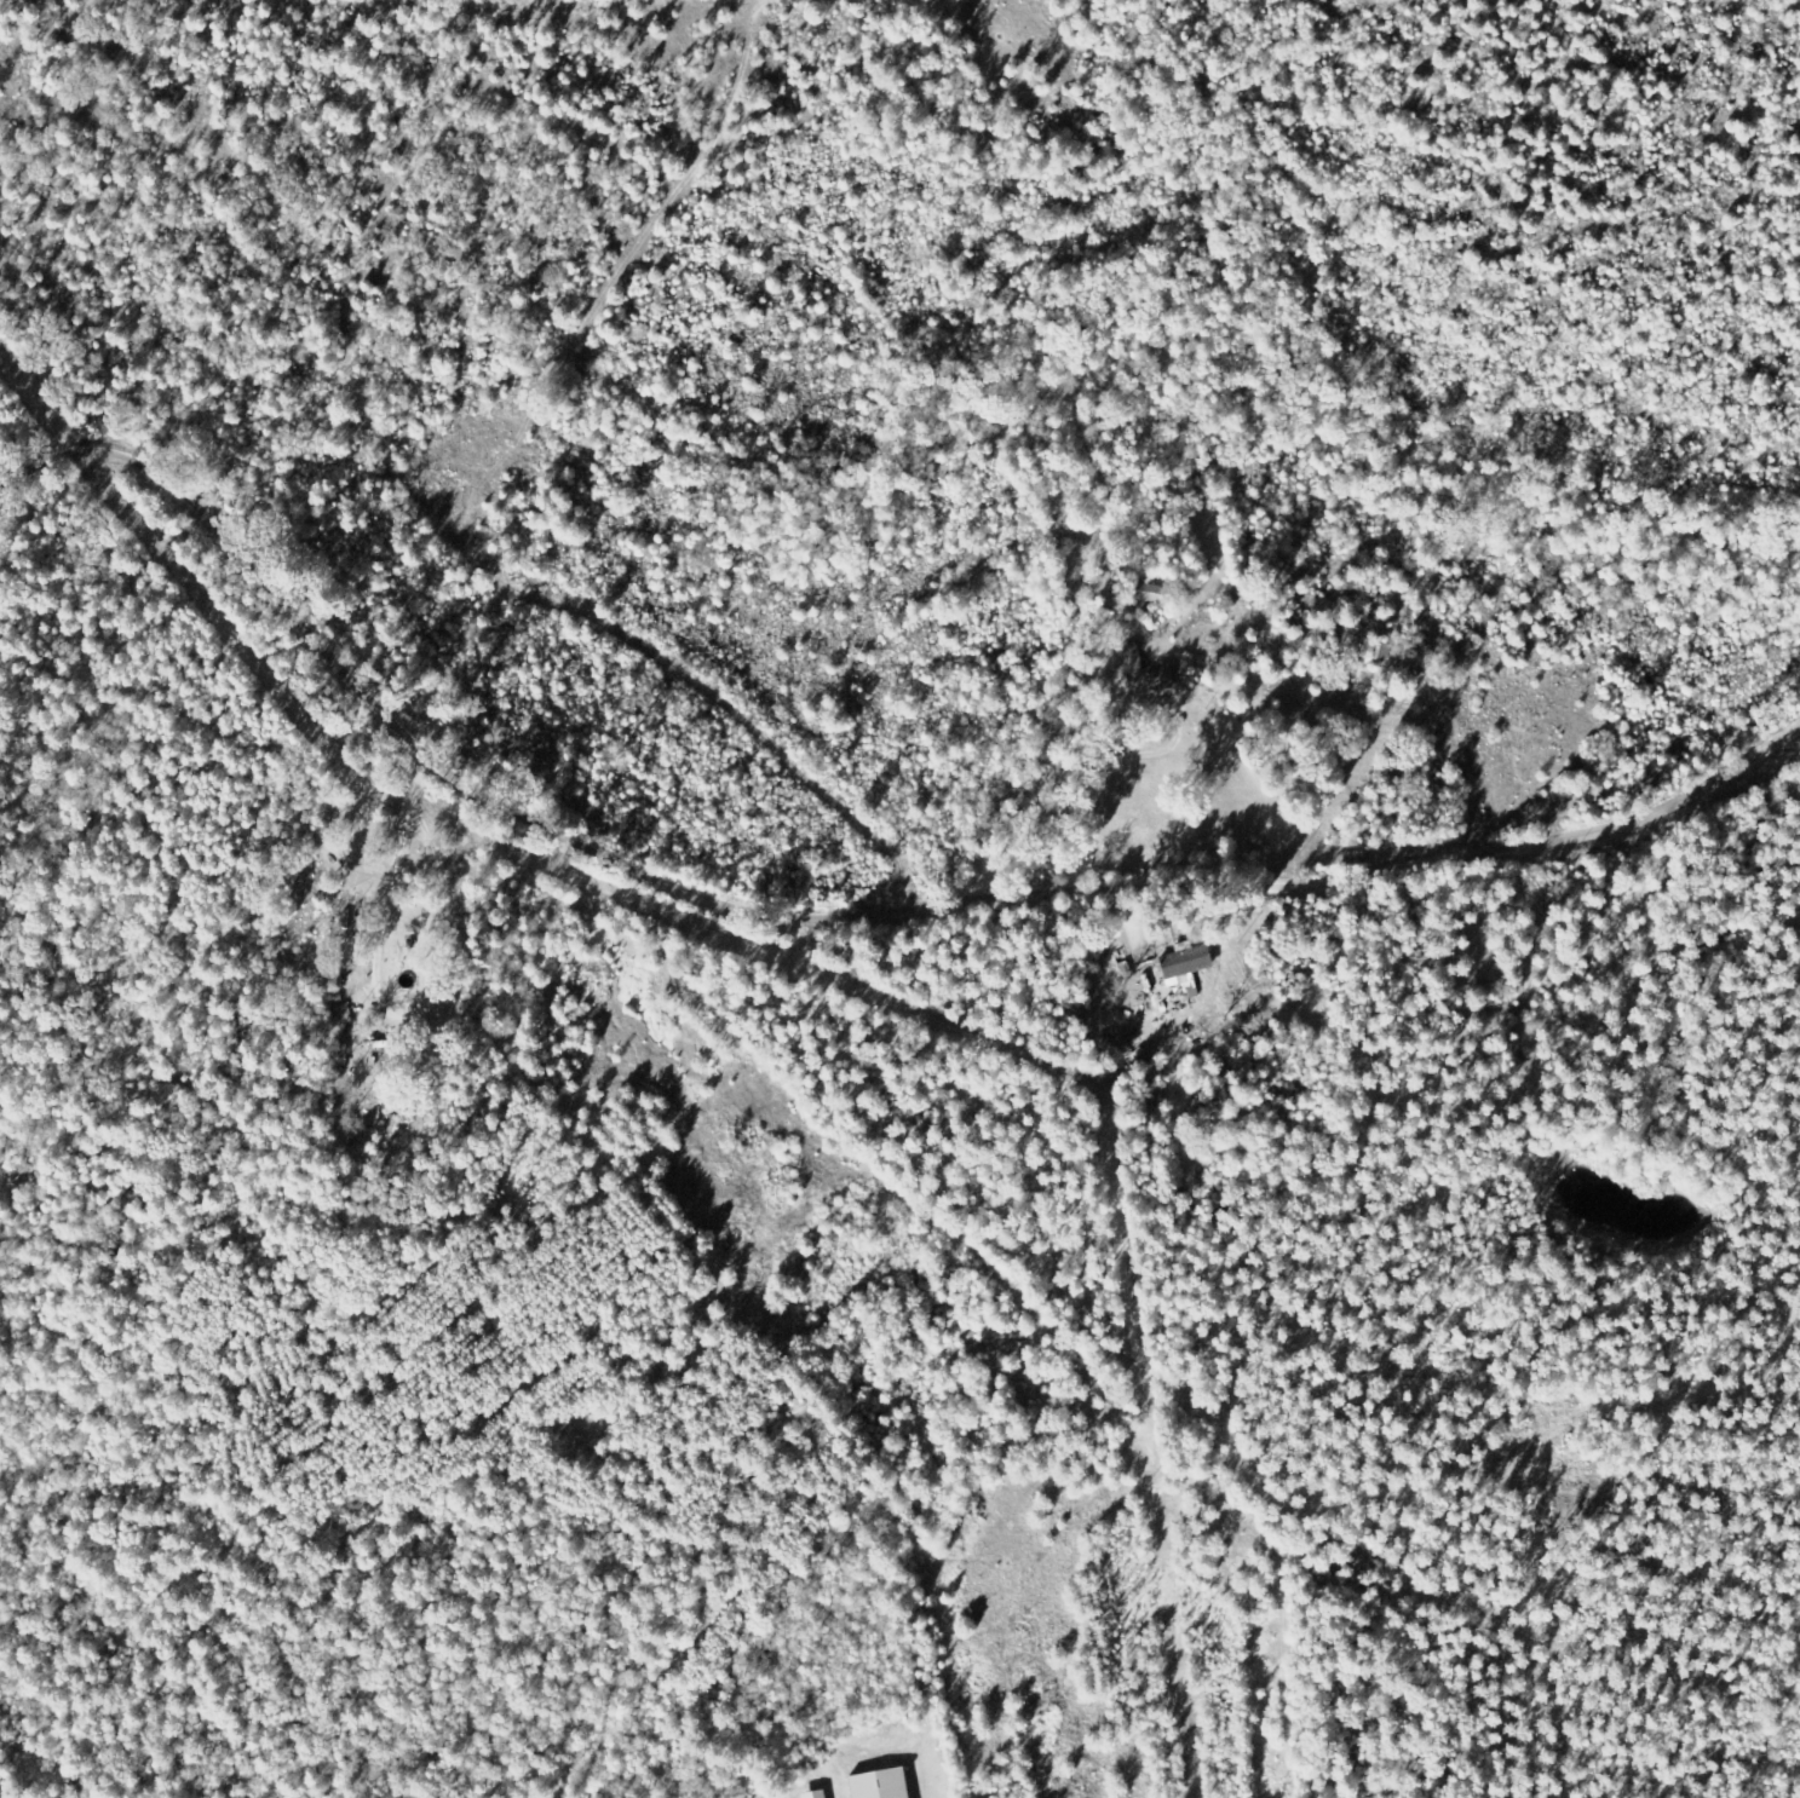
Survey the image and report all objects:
road: (307, 247)
road: (1513, 530)
road: (1477, 564)
building: (1151, 593)
building: (1148, 674)
road: (850, 886)
building: (1190, 963)
building: (884, 1785)
building: (817, 1794)

